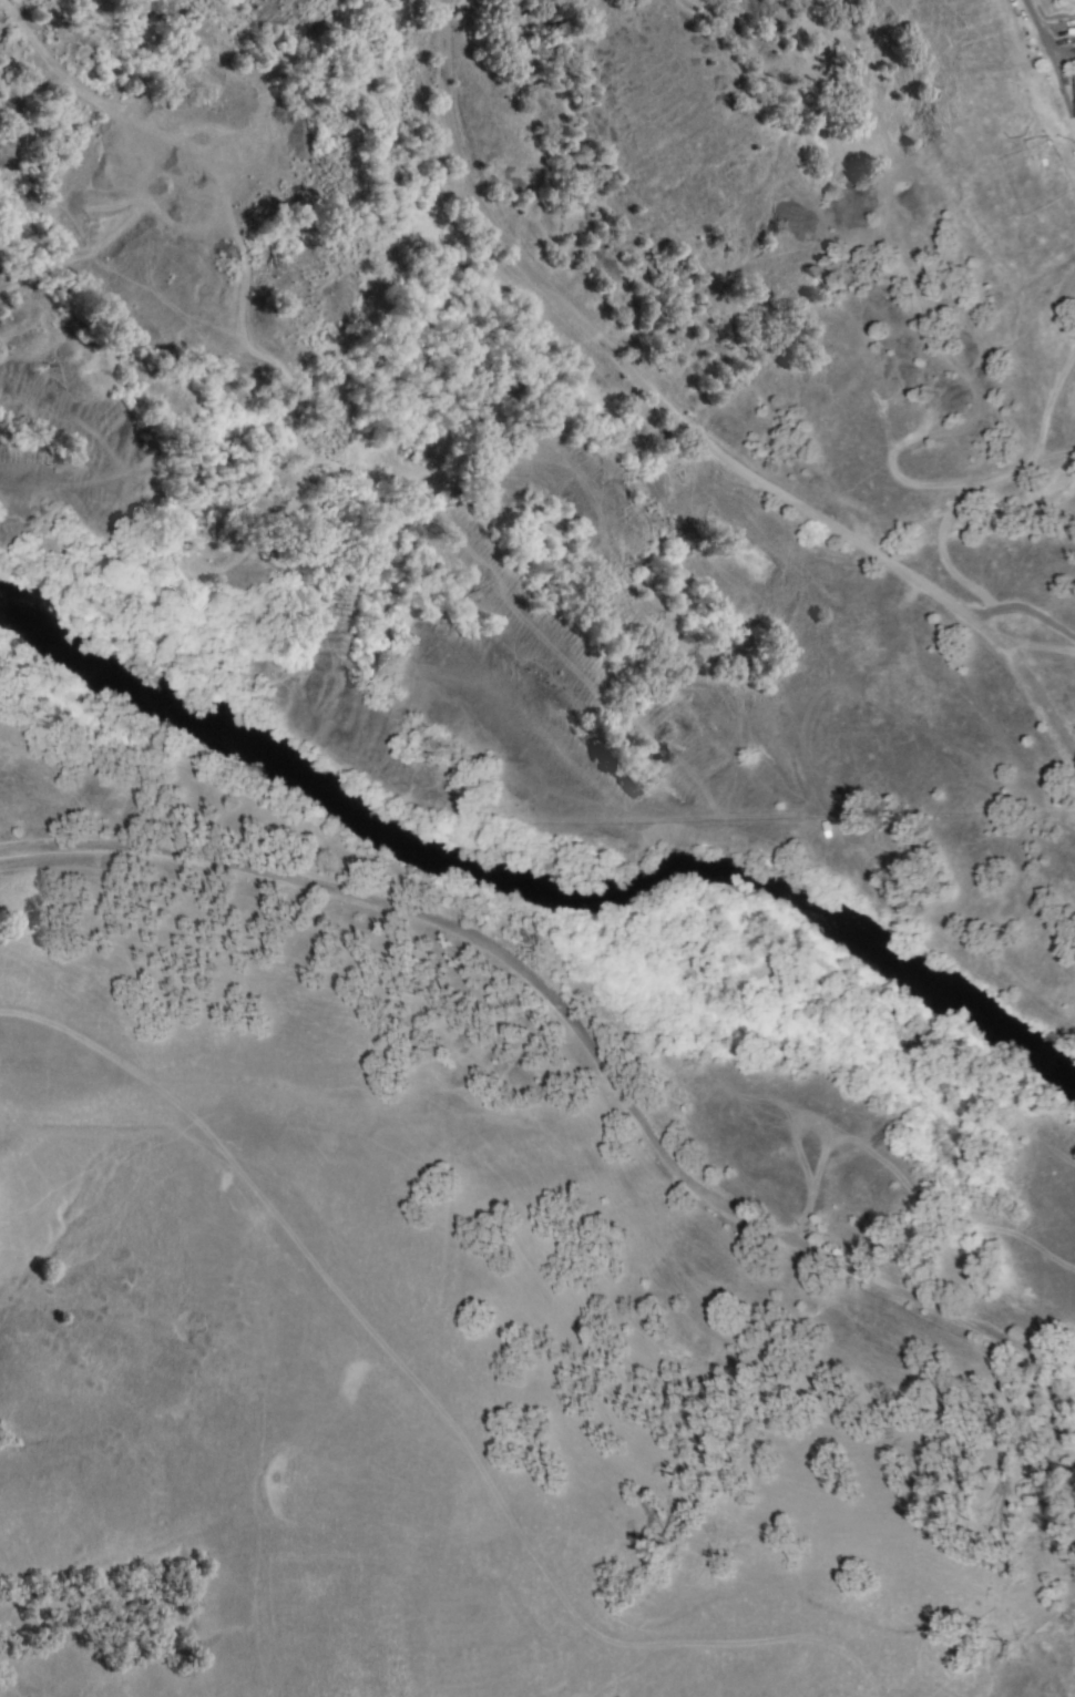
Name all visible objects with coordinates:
road: (1035, 23)
building: (1073, 94)
road: (685, 428)
river: (534, 907)
road: (575, 1025)

